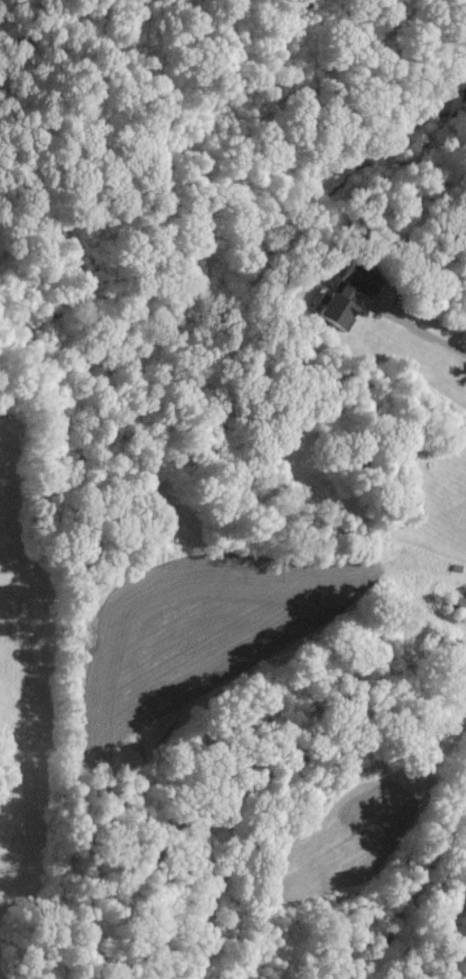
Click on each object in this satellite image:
building: (339, 304)
road: (418, 327)
road: (465, 788)
road: (421, 882)

